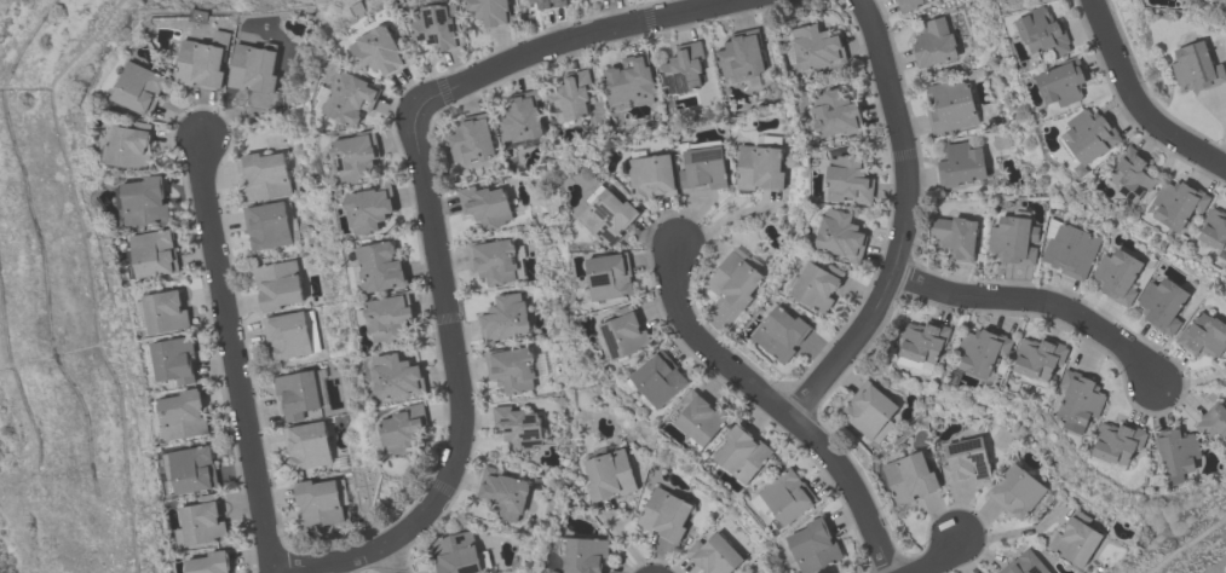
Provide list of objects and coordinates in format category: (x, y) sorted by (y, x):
building: (520, 0)
building: (1173, 0)
building: (1222, 0)
building: (549, 4)
building: (908, 5)
building: (491, 12)
building: (438, 25)
building: (1043, 30)
road: (582, 39)
building: (934, 42)
building: (817, 46)
building: (379, 51)
building: (742, 54)
building: (203, 62)
building: (1197, 66)
building: (253, 68)
building: (683, 68)
building: (631, 80)
building: (1064, 80)
building: (139, 88)
building: (569, 97)
building: (350, 98)
road: (1136, 103)
building: (950, 106)
building: (834, 111)
building: (520, 118)
building: (1092, 133)
building: (470, 141)
building: (127, 145)
building: (355, 156)
building: (704, 163)
building: (961, 164)
building: (760, 167)
building: (1134, 173)
building: (654, 175)
building: (265, 176)
building: (848, 179)
building: (144, 201)
building: (1179, 202)
building: (484, 207)
building: (368, 208)
building: (609, 215)
road: (916, 222)
building: (266, 224)
building: (1215, 227)
building: (841, 235)
building: (955, 237)
building: (1014, 239)
building: (1070, 248)
building: (152, 254)
building: (493, 260)
building: (379, 266)
building: (1117, 274)
building: (610, 276)
building: (736, 279)
building: (277, 285)
building: (817, 285)
road: (1042, 300)
building: (1163, 303)
building: (165, 311)
building: (387, 317)
building: (503, 319)
building: (626, 331)
building: (781, 332)
building: (1203, 334)
building: (286, 335)
building: (923, 340)
road: (714, 345)
building: (983, 351)
road: (223, 355)
building: (1038, 357)
building: (173, 360)
building: (511, 369)
park: (36, 371)
building: (397, 376)
building: (660, 378)
road: (1192, 383)
building: (297, 394)
road: (459, 397)
building: (1080, 399)
building: (869, 410)
building: (182, 415)
building: (702, 416)
building: (1213, 419)
building: (517, 428)
building: (404, 429)
building: (1117, 441)
building: (306, 445)
building: (1176, 450)
building: (742, 452)
building: (966, 459)
building: (191, 470)
building: (609, 474)
building: (909, 477)
road: (859, 485)
building: (1015, 491)
building: (502, 494)
building: (788, 496)
building: (317, 504)
building: (664, 515)
building: (202, 522)
road: (1011, 533)
building: (1076, 539)
building: (815, 545)
building: (455, 554)
building: (583, 555)
building: (714, 555)
road: (933, 558)
road: (392, 560)
building: (209, 563)
building: (1025, 563)

